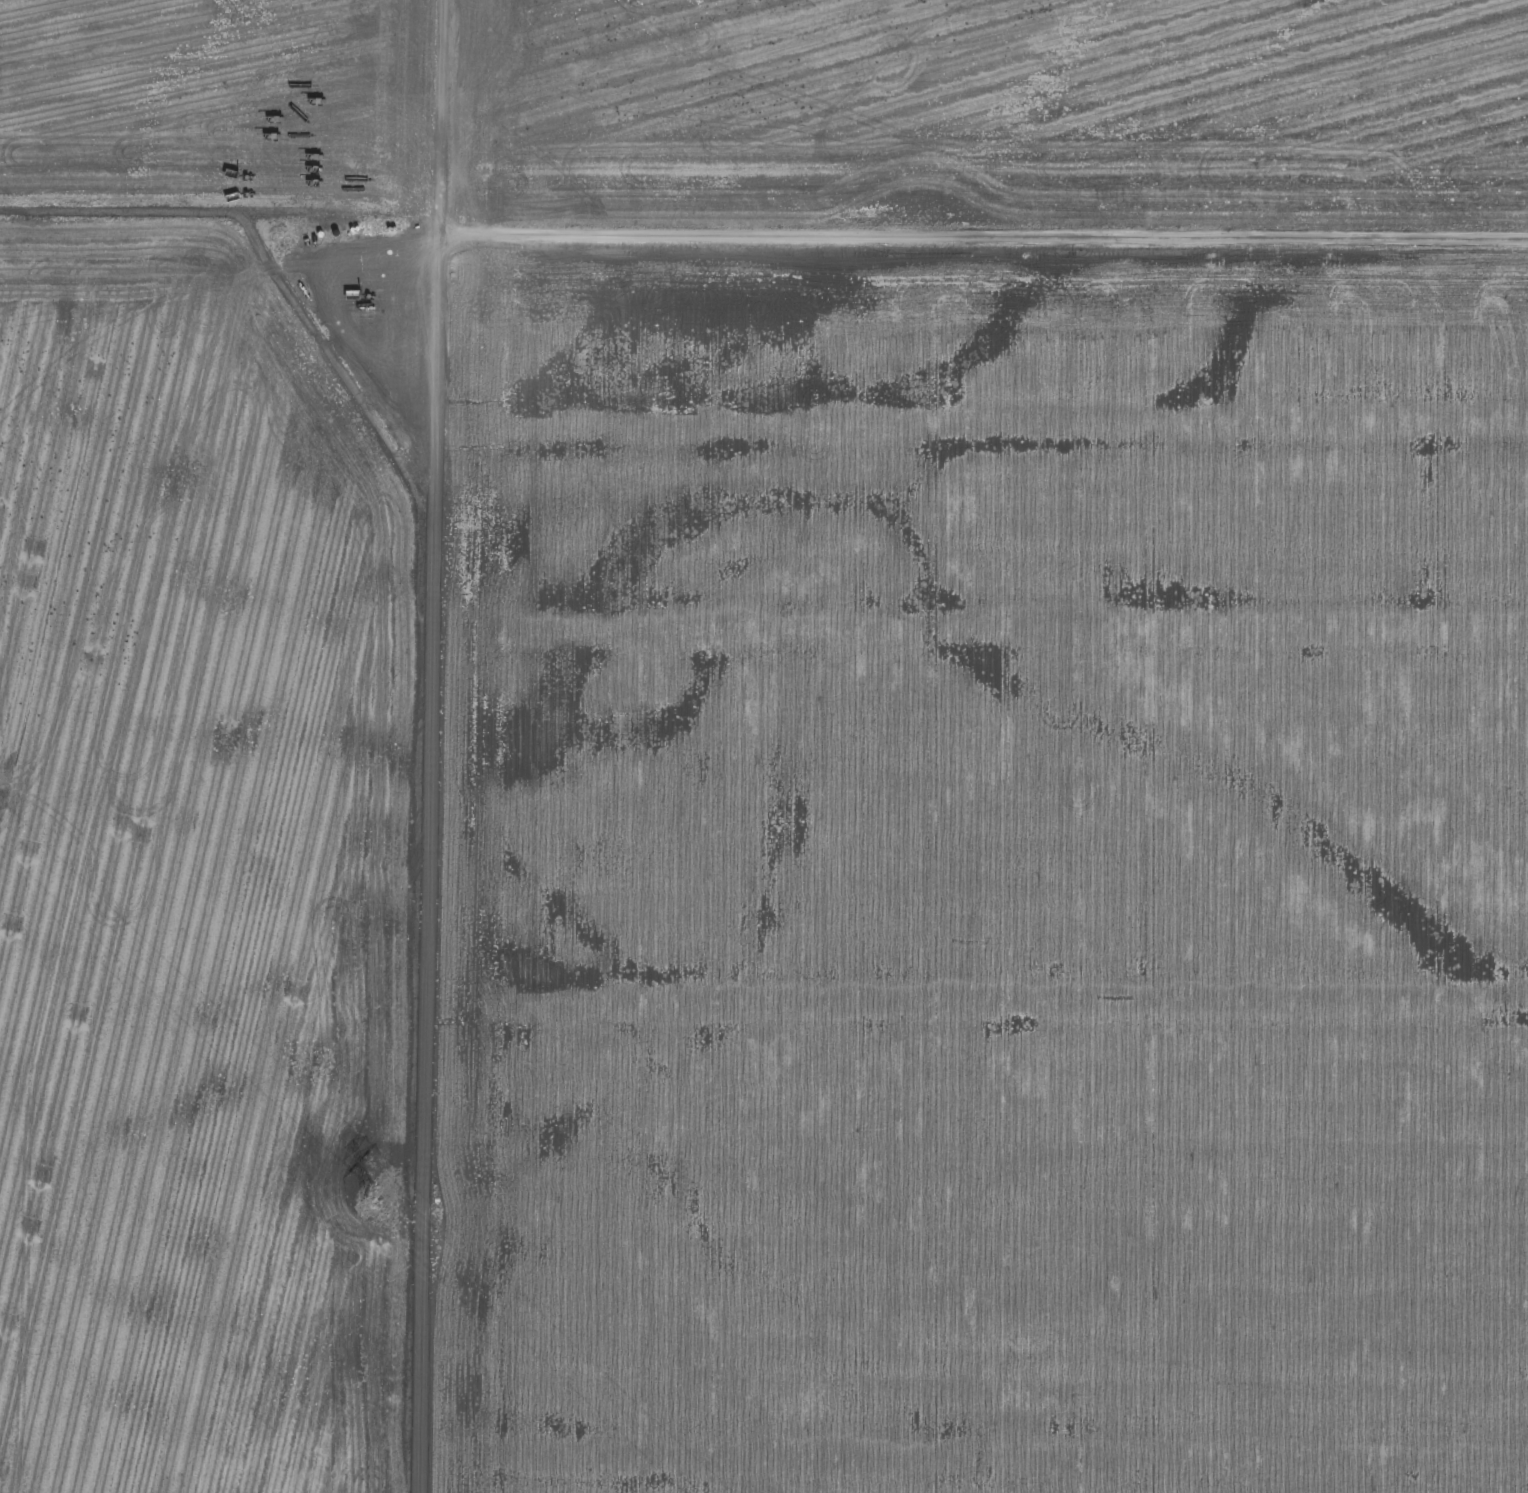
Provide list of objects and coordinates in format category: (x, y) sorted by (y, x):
power tower: (375, 1199)

